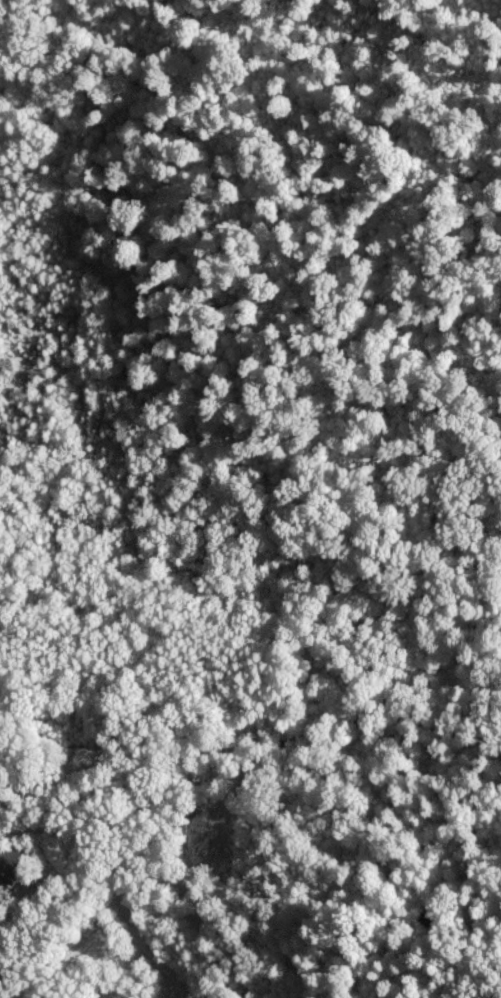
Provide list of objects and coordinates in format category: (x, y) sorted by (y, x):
building: (8, 865)

